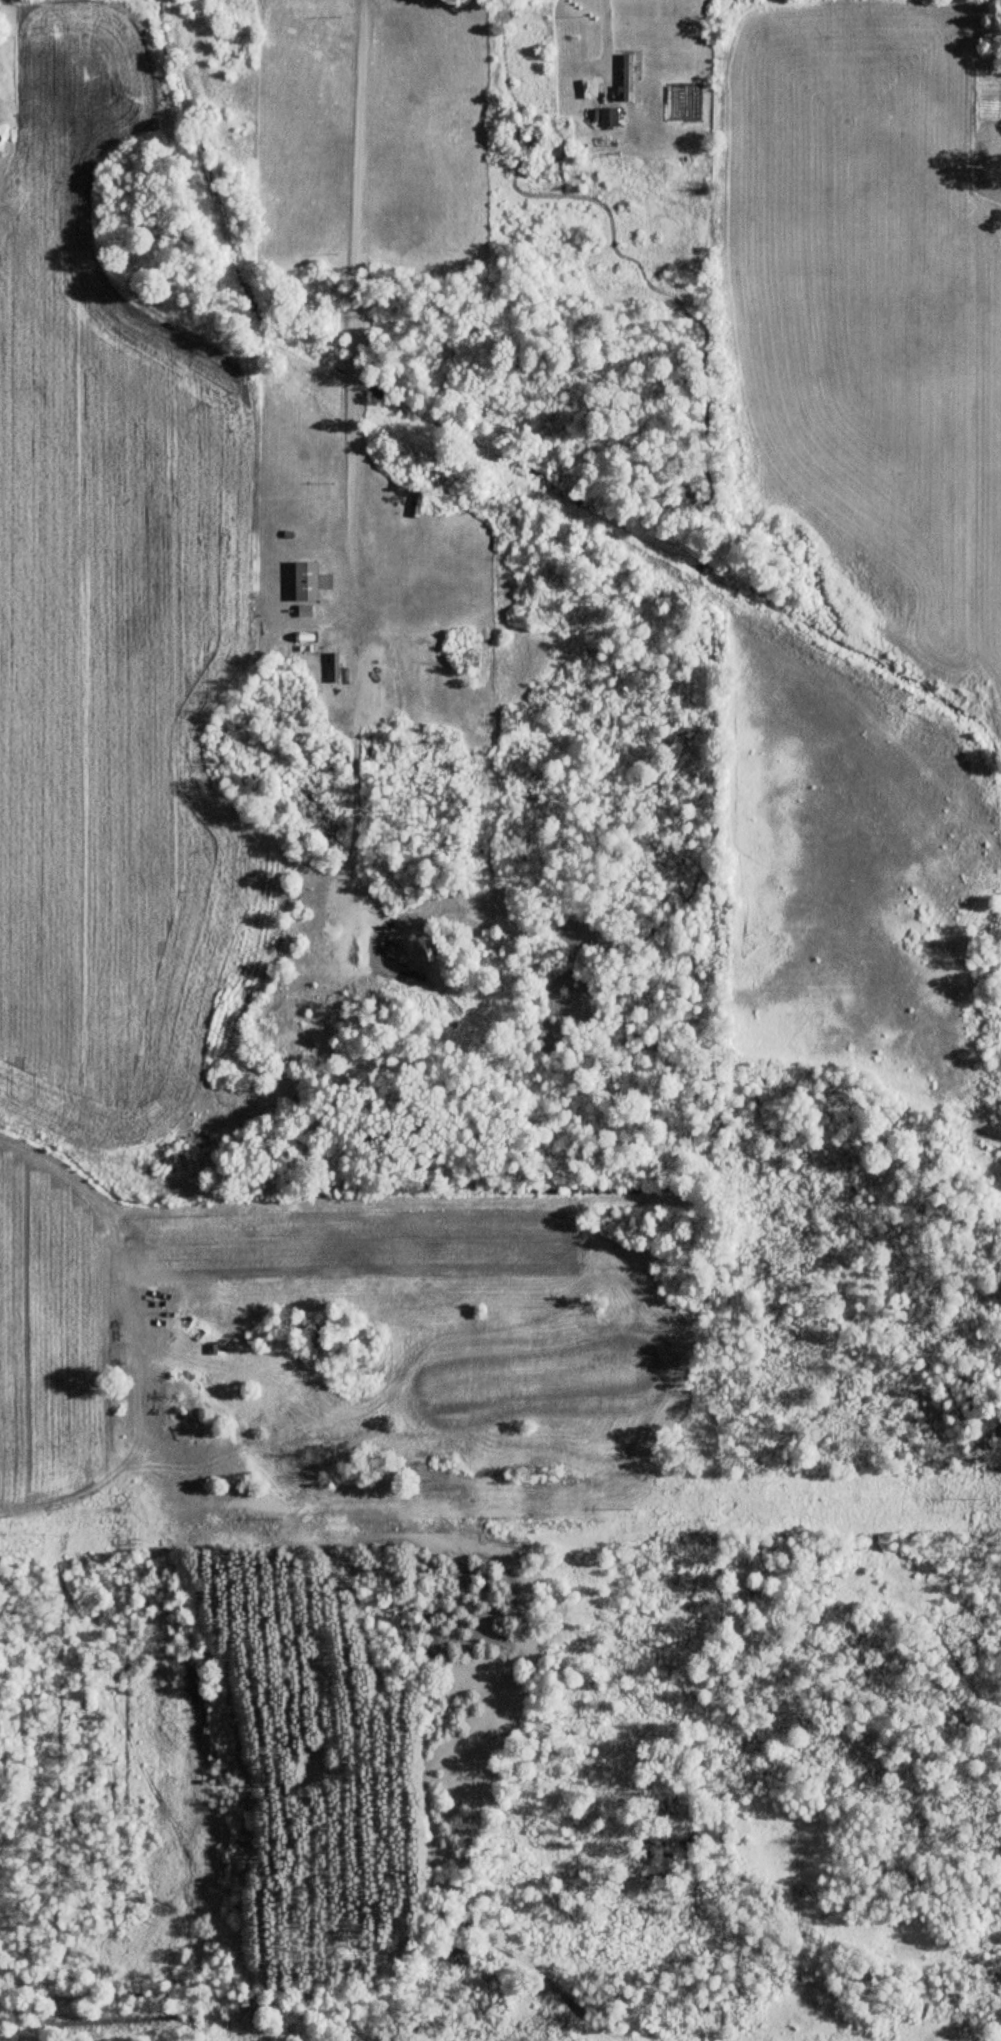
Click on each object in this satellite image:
building: (629, 78)
building: (610, 117)
road: (356, 262)
building: (307, 582)

